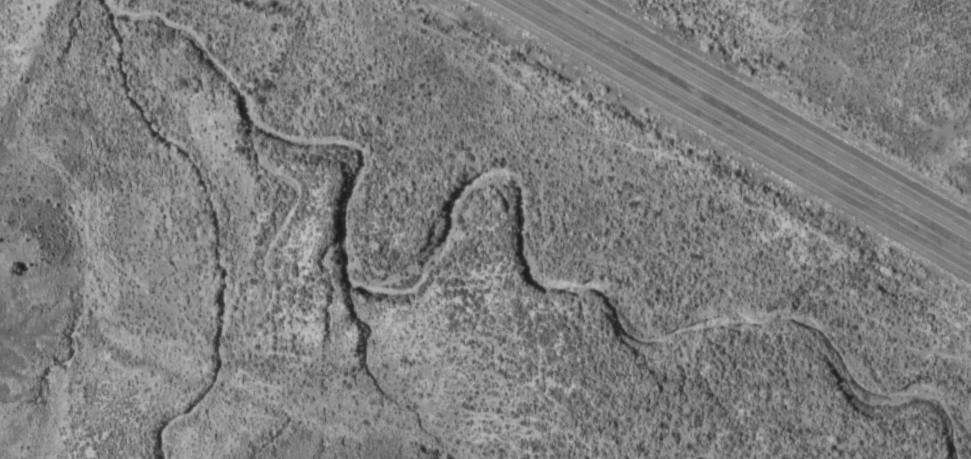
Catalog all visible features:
road: (767, 115)
road: (737, 132)
road: (85, 392)

